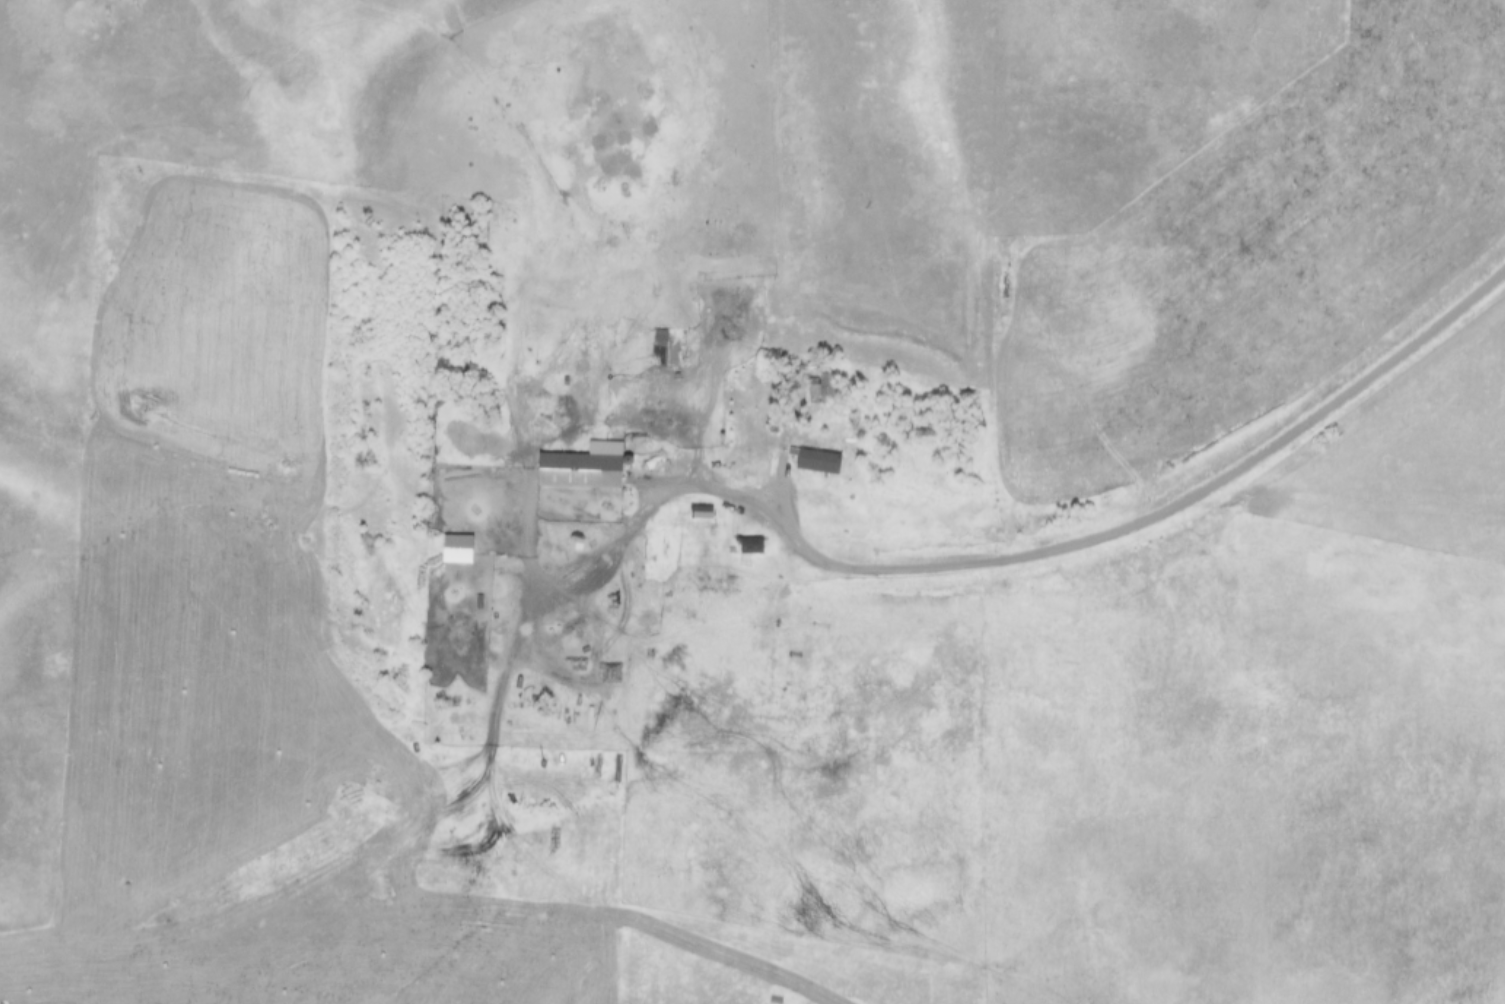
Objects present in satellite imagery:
building: (667, 345)
building: (581, 470)
building: (702, 520)
building: (752, 546)
road: (1071, 548)

